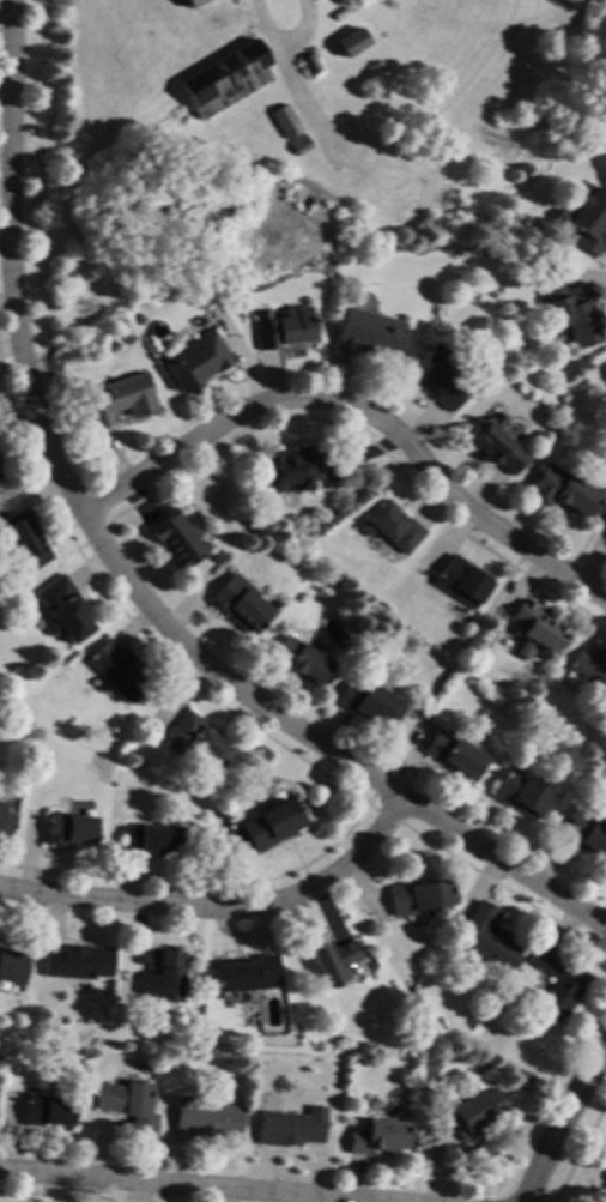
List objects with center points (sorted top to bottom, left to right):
building: (190, 2)
building: (337, 13)
building: (349, 42)
road: (280, 43)
building: (308, 64)
building: (224, 79)
road: (298, 105)
building: (285, 121)
park: (275, 138)
building: (298, 144)
building: (316, 192)
building: (584, 219)
building: (576, 316)
building: (281, 326)
building: (366, 333)
building: (193, 361)
building: (435, 379)
building: (605, 381)
building: (605, 385)
building: (116, 399)
road: (362, 412)
building: (493, 443)
building: (290, 469)
building: (560, 489)
building: (389, 525)
building: (172, 537)
road: (583, 538)
building: (23, 540)
road: (120, 575)
building: (461, 580)
building: (238, 604)
building: (61, 610)
building: (534, 628)
building: (301, 660)
building: (586, 668)
building: (116, 669)
road: (436, 687)
building: (370, 703)
building: (194, 739)
building: (454, 754)
building: (520, 793)
building: (0, 805)
road: (381, 814)
building: (5, 823)
building: (272, 825)
building: (65, 828)
building: (583, 832)
building: (150, 839)
building: (418, 895)
road: (222, 904)
building: (485, 937)
building: (332, 960)
building: (75, 961)
building: (12, 965)
building: (243, 974)
building: (160, 978)
building: (557, 983)
building: (127, 1104)
building: (46, 1110)
building: (474, 1111)
building: (205, 1117)
road: (559, 1122)
building: (290, 1127)
building: (376, 1135)
building: (605, 1152)
road: (186, 1188)

